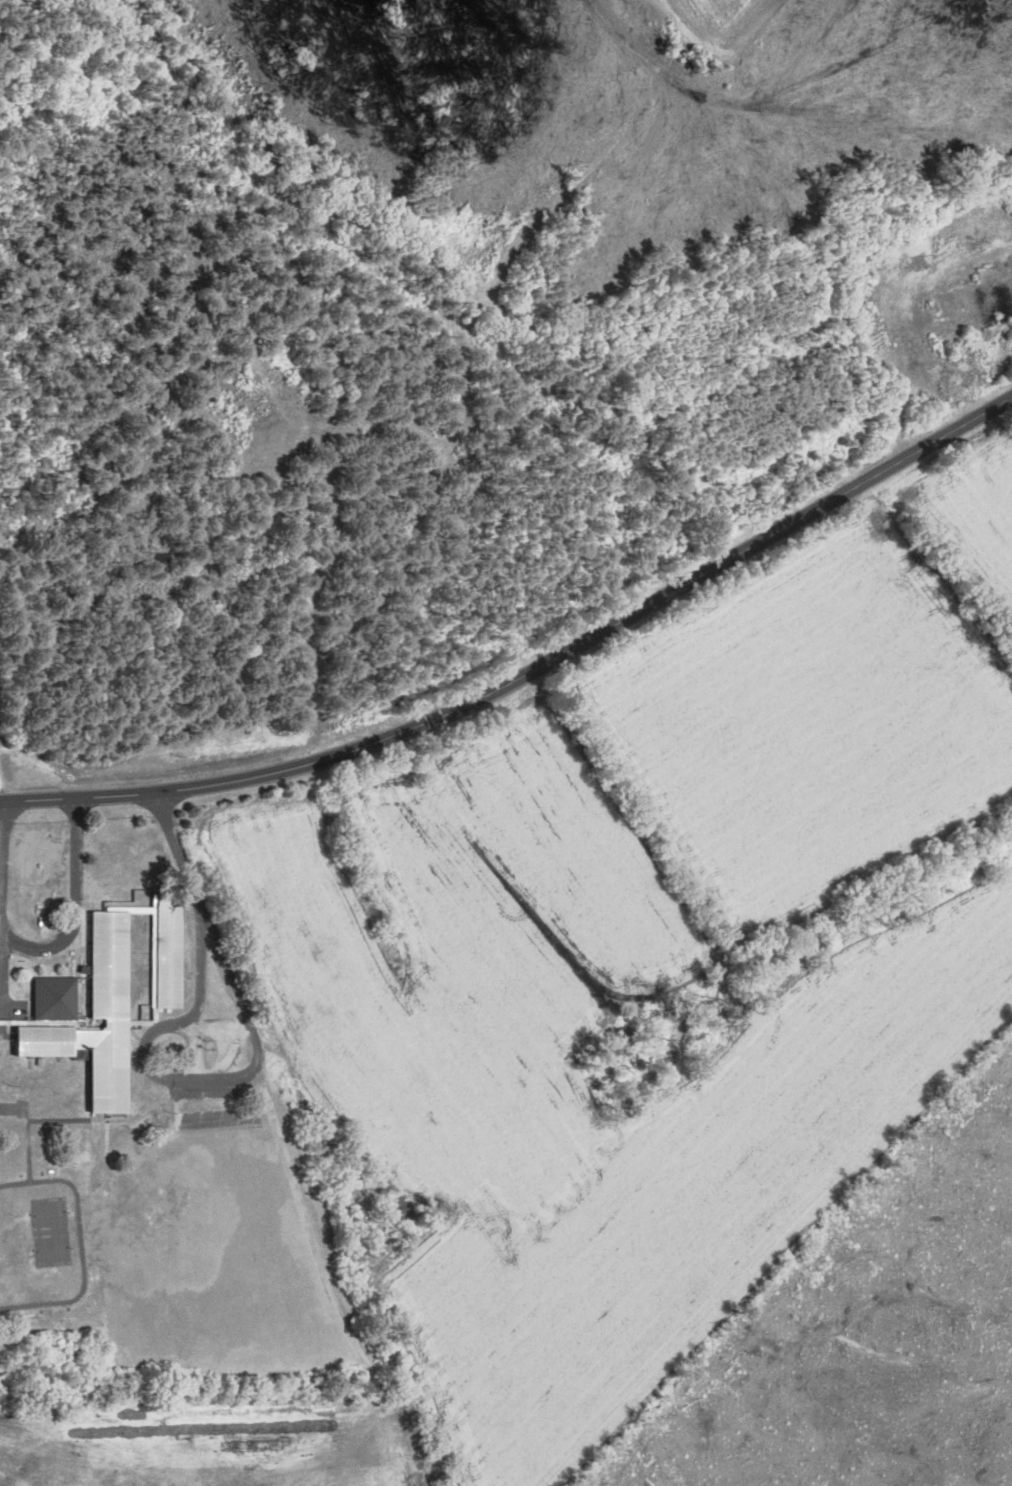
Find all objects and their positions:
road: (530, 670)
road: (2, 793)
road: (2, 891)
road: (76, 905)
road: (199, 912)
building: (110, 1000)
road: (250, 1021)
road: (210, 1024)
road: (153, 1030)
road: (232, 1050)

